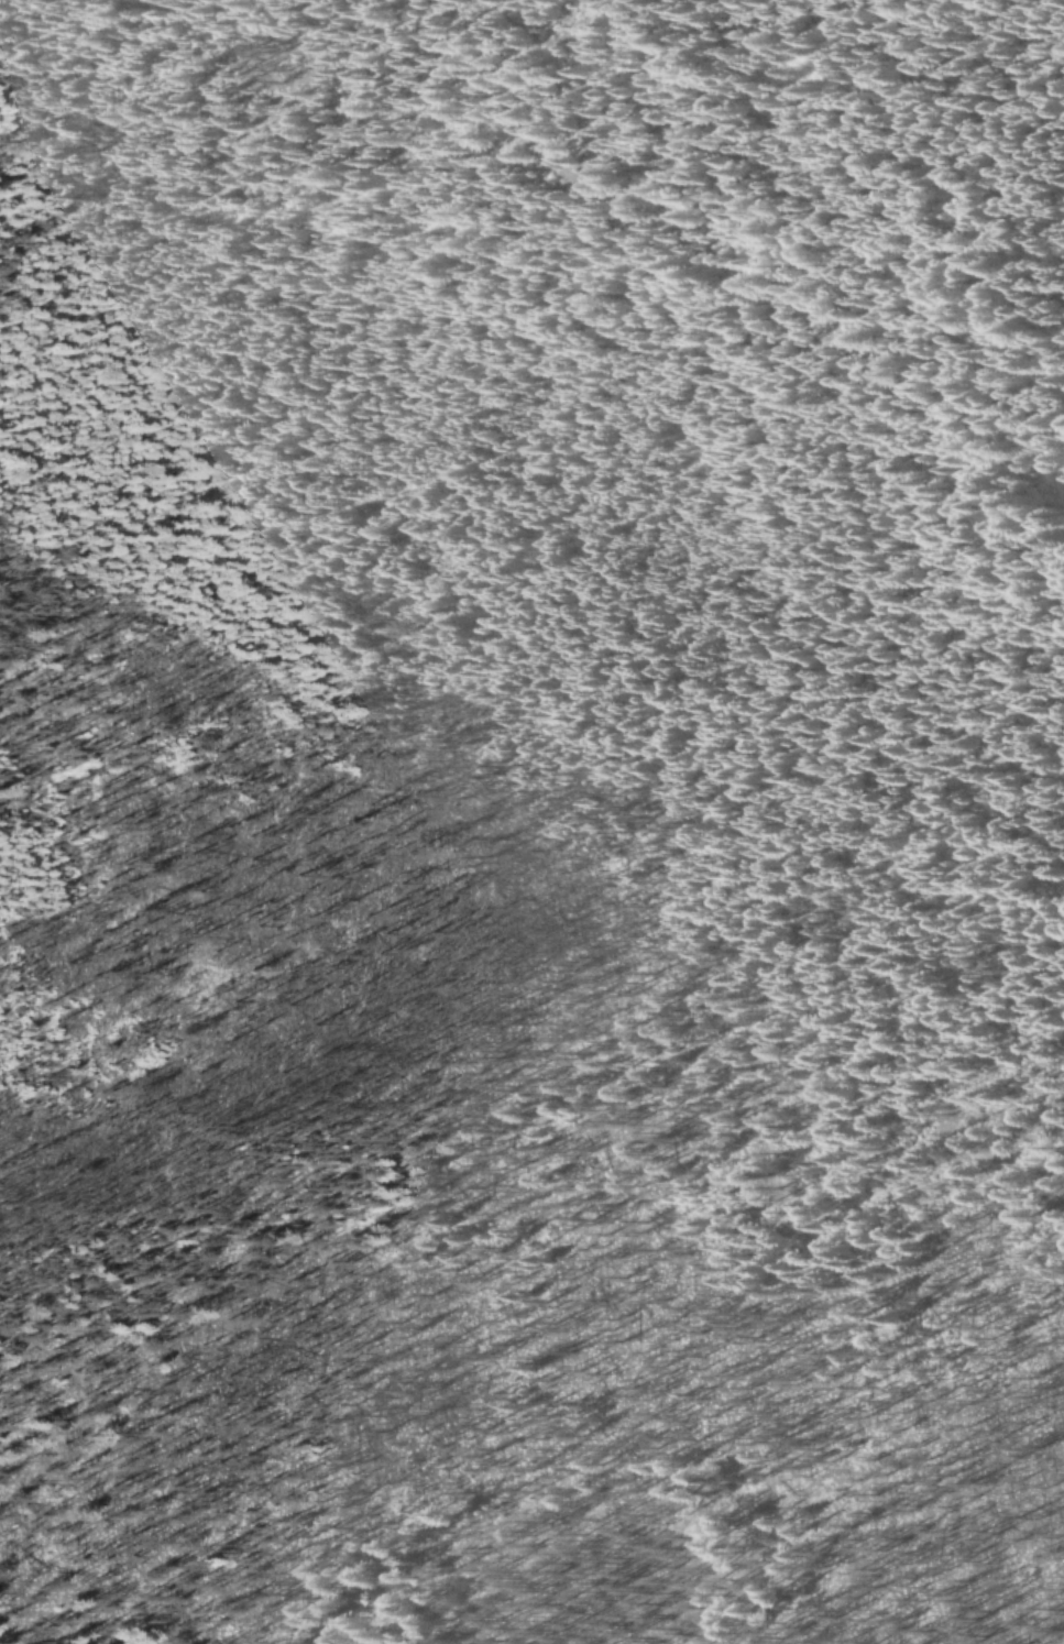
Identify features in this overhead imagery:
road: (1055, 228)

